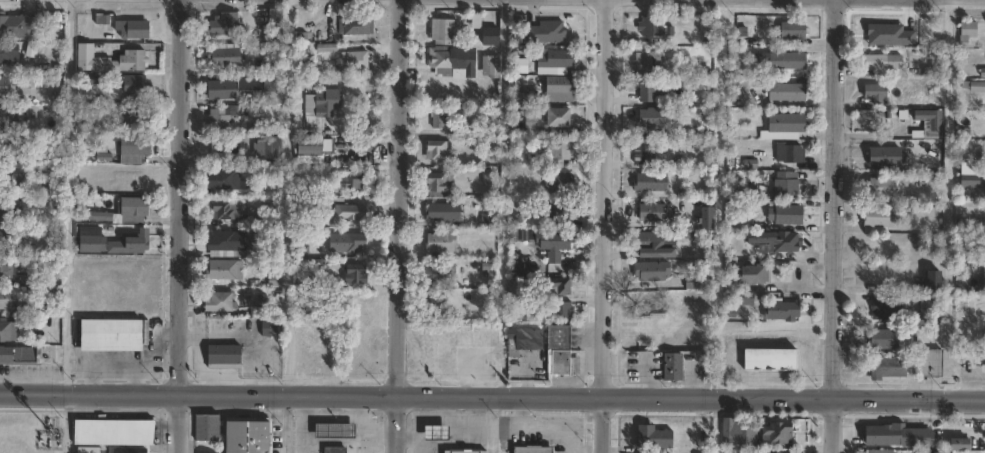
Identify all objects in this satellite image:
building: (274, 18)
building: (912, 21)
building: (221, 25)
building: (12, 26)
building: (354, 26)
building: (36, 27)
building: (654, 28)
building: (131, 29)
building: (442, 29)
building: (789, 30)
building: (874, 30)
building: (966, 31)
building: (544, 32)
building: (324, 48)
building: (83, 51)
building: (11, 53)
building: (221, 57)
building: (553, 59)
building: (354, 60)
building: (128, 61)
building: (786, 61)
building: (451, 62)
building: (881, 62)
building: (647, 63)
building: (300, 64)
building: (517, 64)
building: (488, 66)
building: (248, 83)
building: (132, 84)
building: (269, 84)
building: (8, 86)
building: (973, 86)
building: (218, 89)
building: (558, 89)
building: (650, 90)
building: (785, 93)
building: (874, 93)
building: (521, 95)
building: (319, 107)
building: (9, 116)
building: (131, 117)
building: (223, 117)
building: (556, 117)
building: (652, 118)
building: (928, 118)
building: (435, 119)
building: (529, 123)
building: (783, 126)
building: (916, 129)
building: (474, 141)
building: (266, 146)
building: (305, 146)
building: (8, 148)
building: (133, 150)
building: (438, 152)
building: (557, 152)
building: (106, 153)
building: (787, 153)
building: (644, 155)
building: (883, 157)
building: (984, 175)
building: (11, 179)
building: (220, 180)
building: (968, 180)
building: (352, 182)
building: (558, 182)
building: (649, 182)
building: (437, 183)
building: (784, 189)
building: (882, 189)
road: (947, 199)
building: (135, 210)
building: (225, 211)
building: (348, 212)
building: (651, 212)
building: (441, 213)
building: (7, 214)
building: (557, 214)
building: (784, 215)
building: (103, 216)
building: (703, 219)
building: (877, 221)
road: (177, 226)
road: (396, 226)
road: (605, 226)
road: (830, 226)
building: (540, 239)
building: (2, 240)
building: (346, 242)
building: (96, 243)
building: (139, 243)
building: (439, 243)
building: (654, 243)
building: (781, 243)
building: (223, 244)
building: (6, 270)
building: (222, 270)
building: (652, 271)
building: (436, 275)
building: (748, 276)
building: (882, 276)
building: (354, 277)
building: (982, 279)
building: (691, 282)
building: (932, 282)
building: (559, 286)
building: (4, 301)
building: (216, 302)
building: (432, 302)
building: (649, 307)
building: (886, 310)
building: (36, 311)
building: (557, 311)
building: (780, 312)
building: (6, 332)
building: (110, 333)
road: (240, 335)
road: (153, 337)
building: (523, 339)
building: (882, 340)
building: (558, 353)
building: (17, 356)
building: (221, 357)
building: (982, 362)
building: (929, 363)
road: (145, 364)
building: (885, 367)
building: (671, 368)
building: (910, 368)
road: (104, 370)
road: (492, 394)
road: (499, 424)
building: (208, 428)
building: (333, 430)
gas station: (333, 430)
building: (112, 431)
building: (736, 431)
building: (774, 432)
building: (435, 433)
gas station: (435, 433)
building: (895, 435)
building: (247, 436)
building: (653, 437)
building: (960, 444)
building: (334, 449)
building: (530, 449)
building: (92, 450)
building: (134, 450)
building: (462, 450)
building: (877, 451)
building: (205, 452)

